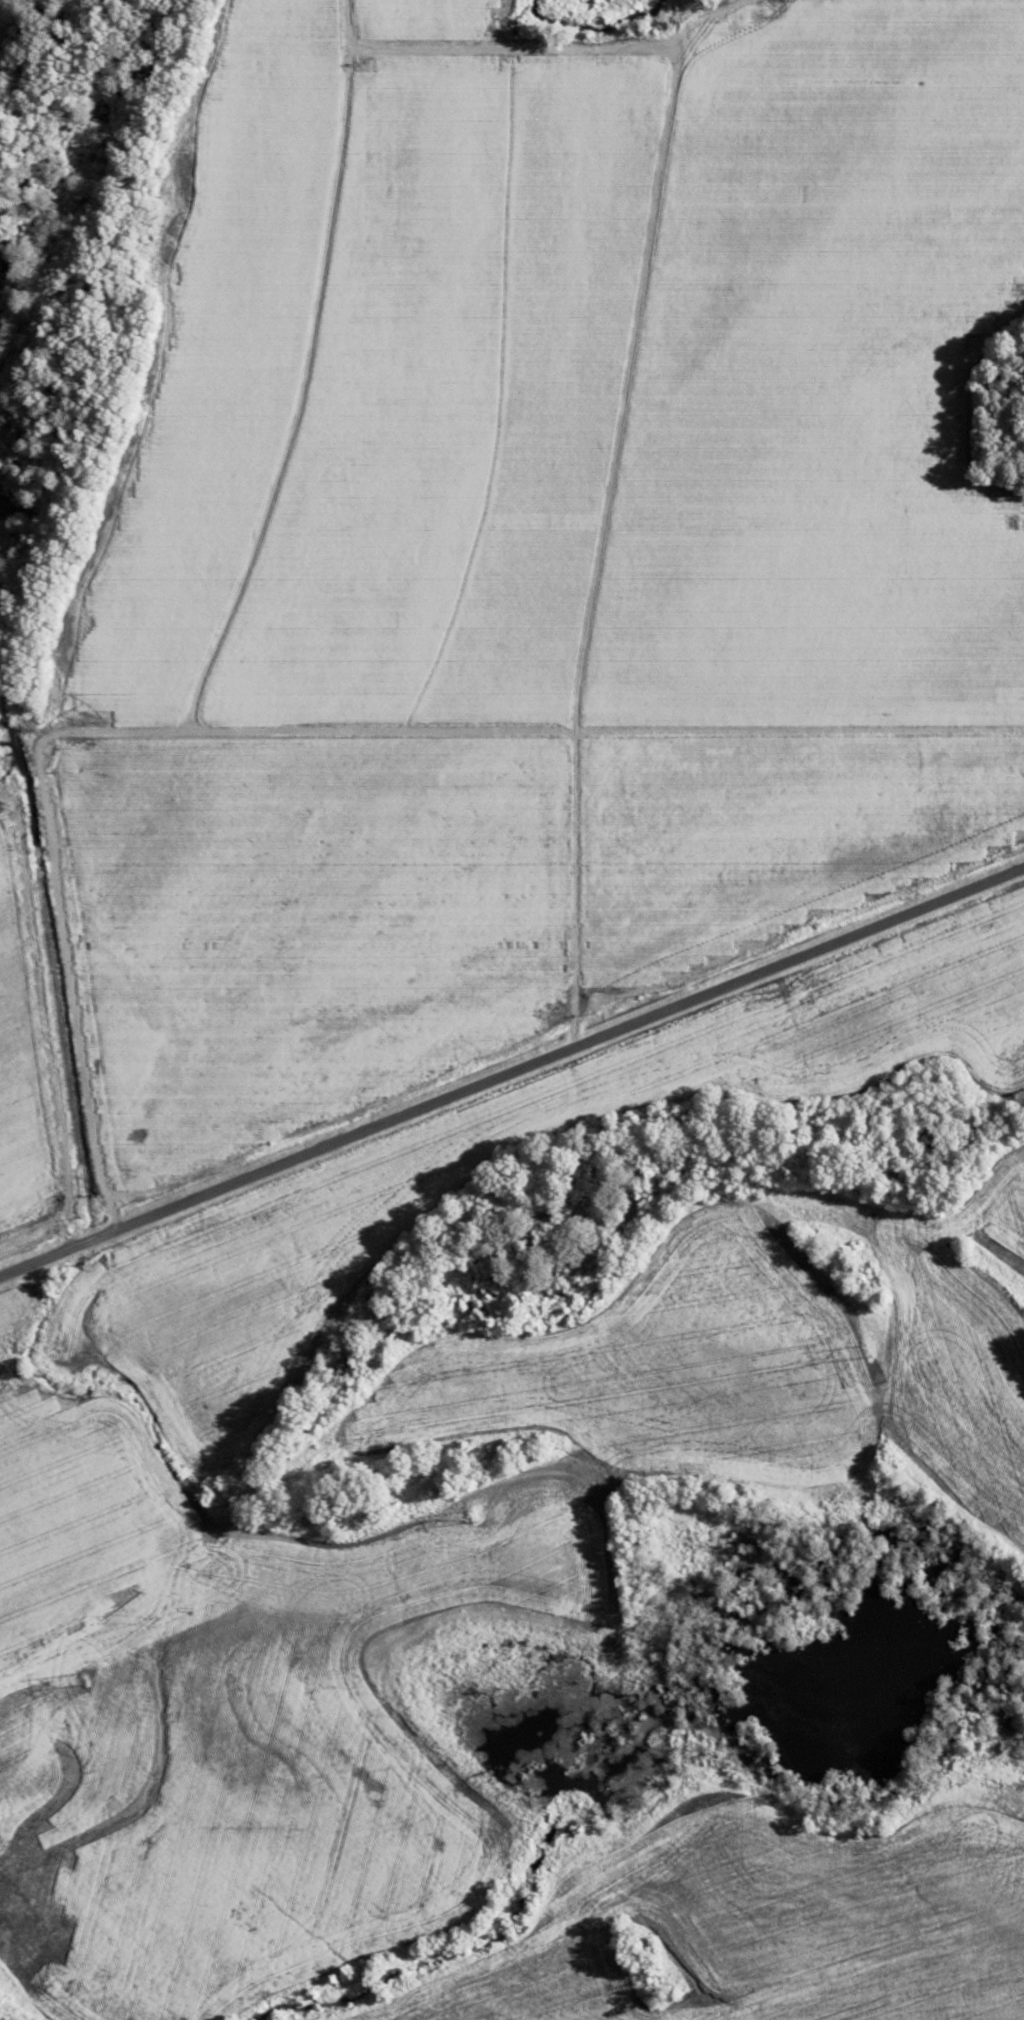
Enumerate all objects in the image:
road: (511, 1072)
road: (262, 1314)
power tower: (867, 1351)
power tower: (472, 1514)
power tower: (85, 1678)

